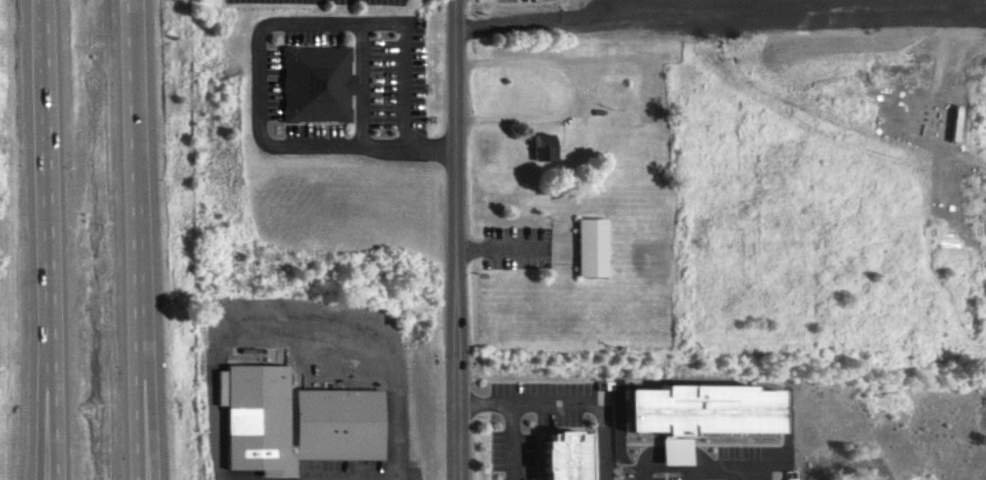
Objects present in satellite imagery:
building: (301, 91)
building: (541, 148)
road: (52, 239)
road: (133, 239)
road: (455, 240)
building: (579, 253)
road: (147, 344)
road: (41, 355)
building: (609, 394)
building: (694, 414)
building: (328, 430)
building: (564, 456)

